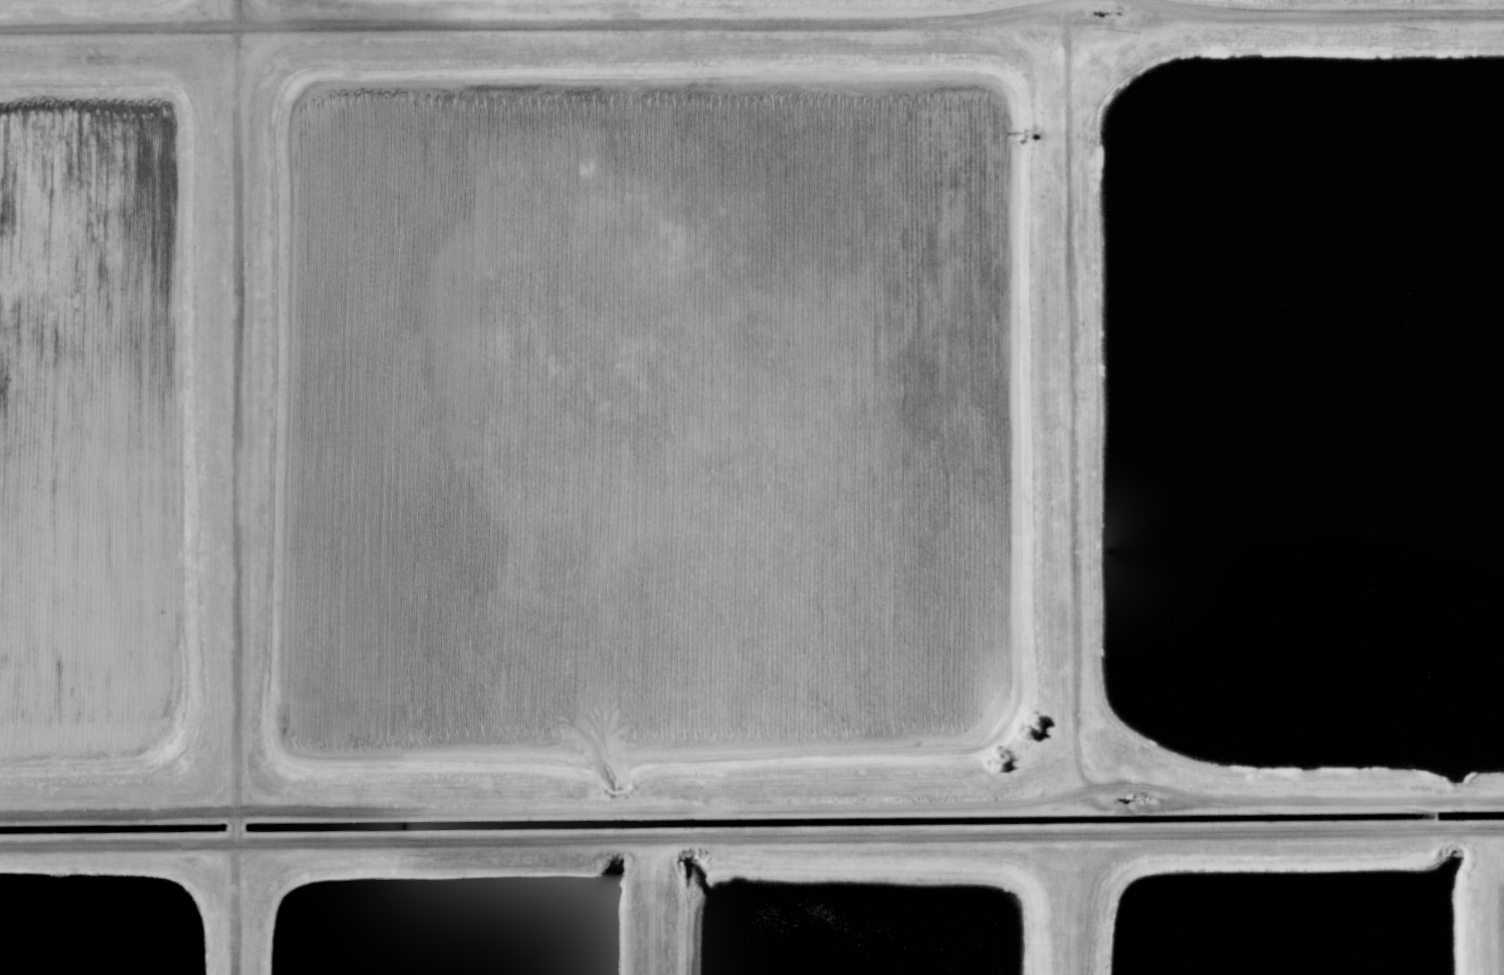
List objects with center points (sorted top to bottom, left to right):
road: (1074, 6)
road: (1142, 8)
road: (756, 17)
road: (1069, 396)
wastewater plant: (94, 407)
wastewater plant: (1315, 408)
wastewater plant: (649, 409)
road: (232, 487)
wastewater plant: (752, 487)
road: (753, 807)
road: (751, 837)
road: (1495, 902)
road: (1071, 904)
road: (655, 906)
wastewater plant: (1285, 915)
wastewater plant: (445, 923)
wastewater plant: (858, 924)
wastewater plant: (84, 930)

